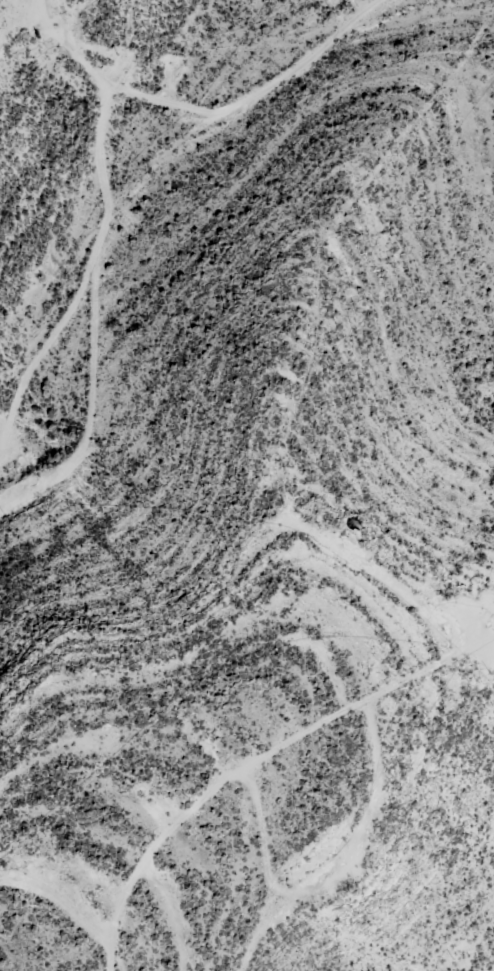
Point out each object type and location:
road: (245, 753)

